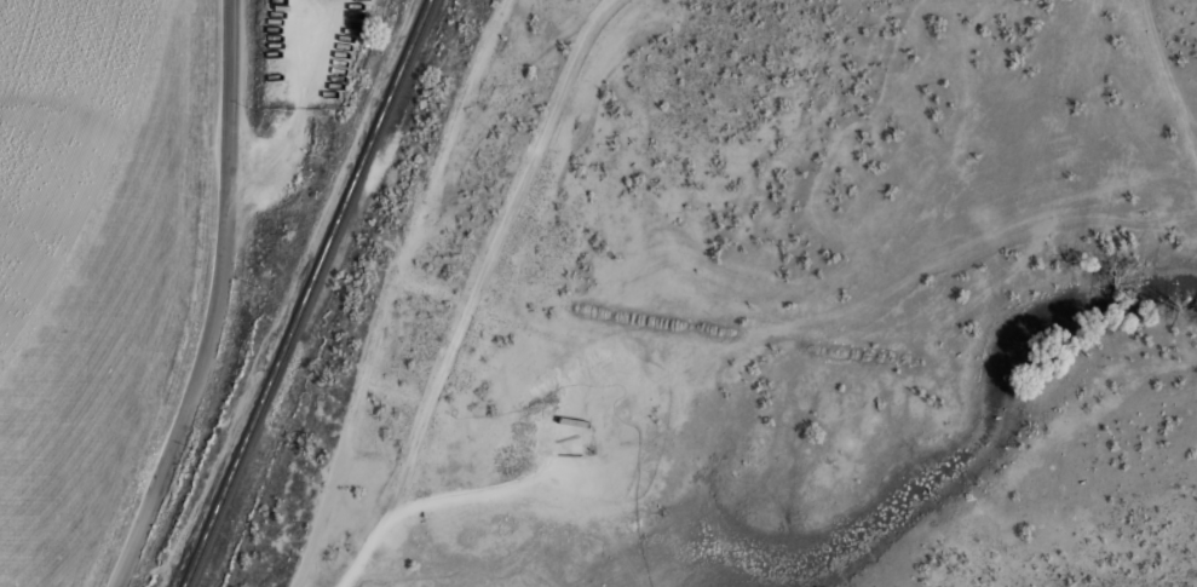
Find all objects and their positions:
road: (1166, 80)
road: (488, 257)
road: (391, 290)
railway: (306, 293)
road: (214, 301)
road: (439, 499)

